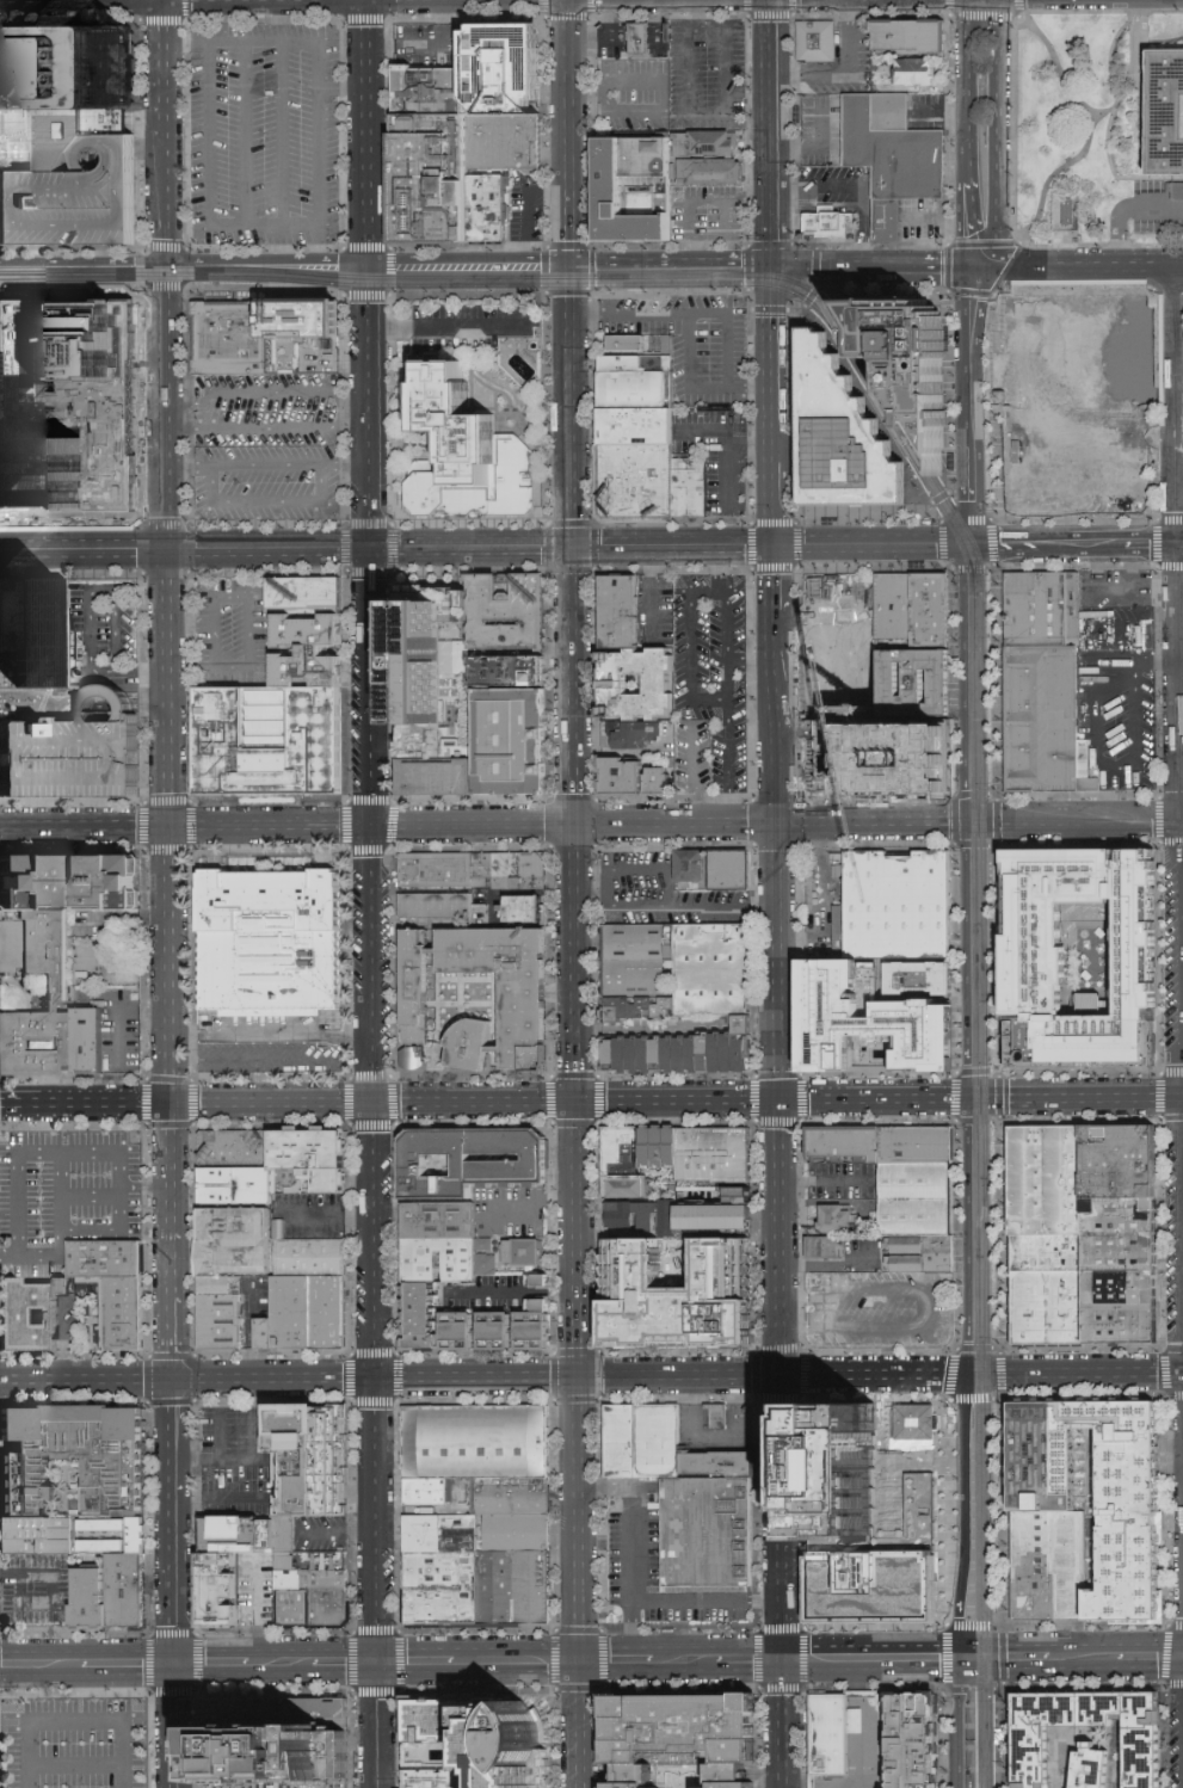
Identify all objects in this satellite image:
road: (949, 6)
road: (967, 6)
road: (998, 7)
road: (686, 12)
road: (991, 13)
building: (908, 38)
road: (185, 41)
road: (1139, 41)
building: (643, 42)
building: (820, 43)
road: (998, 43)
road: (204, 48)
road: (793, 49)
building: (67, 69)
road: (845, 72)
building: (914, 73)
building: (507, 74)
parking lot: (709, 75)
parking lot: (637, 82)
road: (340, 90)
road: (966, 97)
road: (1115, 100)
road: (1096, 110)
road: (722, 112)
building: (1165, 112)
parking lot: (637, 117)
park: (1074, 123)
building: (876, 125)
road: (1015, 125)
road: (1091, 127)
road: (951, 128)
road: (166, 131)
road: (365, 131)
road: (772, 131)
road: (242, 132)
road: (571, 132)
parking lot: (265, 134)
road: (279, 134)
building: (509, 150)
building: (436, 160)
building: (913, 168)
road: (999, 173)
road: (854, 190)
building: (73, 199)
parking lot: (73, 199)
road: (707, 201)
road: (1123, 209)
building: (827, 223)
building: (892, 223)
road: (969, 226)
road: (747, 245)
road: (871, 247)
road: (1018, 253)
road: (817, 261)
traffic signals: (774, 263)
road: (84, 264)
traffic signals: (167, 264)
road: (266, 264)
road: (672, 264)
traffic signals: (365, 265)
road: (468, 265)
traffic signals: (571, 265)
road: (875, 266)
road: (951, 266)
road: (1182, 267)
traffic signals: (979, 269)
road: (1080, 269)
railway: (369, 276)
railway: (165, 277)
railway: (477, 280)
road: (818, 280)
railway: (535, 283)
road: (885, 285)
road: (183, 291)
road: (812, 295)
road: (974, 304)
road: (774, 306)
road: (769, 307)
road: (796, 308)
road: (685, 315)
building: (302, 320)
road: (446, 323)
building: (229, 338)
building: (631, 341)
parking lot: (691, 344)
road: (322, 356)
building: (910, 358)
building: (635, 364)
road: (694, 389)
road: (951, 389)
building: (635, 391)
road: (261, 393)
railway: (891, 396)
railway: (889, 400)
road: (366, 407)
road: (572, 407)
road: (1182, 407)
building: (73, 408)
road: (167, 408)
railway: (879, 411)
railway: (887, 418)
building: (636, 427)
road: (266, 428)
road: (972, 431)
road: (725, 432)
building: (842, 437)
parking lot: (266, 448)
road: (775, 448)
building: (466, 455)
road: (189, 466)
road: (344, 466)
road: (797, 474)
building: (634, 480)
building: (689, 491)
road: (729, 491)
road: (935, 500)
road: (321, 504)
road: (934, 517)
road: (988, 518)
road: (968, 534)
road: (943, 540)
road: (1074, 545)
traffic signals: (966, 547)
road: (838, 548)
road: (935, 548)
road: (645, 549)
road: (723, 549)
road: (752, 549)
traffic signals: (775, 549)
road: (469, 550)
traffic signals: (573, 550)
road: (266, 551)
traffic signals: (368, 551)
road: (82, 553)
traffic signals: (166, 553)
road: (943, 562)
road: (875, 566)
road: (969, 566)
road: (775, 569)
road: (716, 573)
road: (100, 587)
building: (306, 597)
road: (776, 599)
building: (894, 605)
building: (938, 605)
building: (1041, 608)
building: (626, 609)
building: (8, 616)
building: (513, 621)
road: (207, 622)
road: (249, 623)
parking lot: (100, 631)
building: (42, 634)
parking lot: (229, 634)
road: (689, 651)
building: (425, 653)
road: (750, 661)
road: (127, 671)
building: (922, 677)
road: (1157, 678)
road: (996, 679)
parking lot: (714, 682)
road: (963, 683)
building: (639, 685)
road: (574, 686)
road: (37, 702)
building: (857, 704)
road: (725, 707)
road: (776, 716)
building: (1042, 717)
road: (1134, 719)
building: (439, 741)
road: (1097, 746)
building: (272, 747)
building: (75, 752)
parking lot: (75, 752)
road: (694, 775)
building: (639, 777)
road: (997, 818)
road: (954, 819)
road: (1095, 820)
road: (870, 821)
traffic signals: (965, 821)
road: (986, 821)
road: (676, 822)
traffic signals: (777, 822)
traffic signals: (577, 824)
road: (288, 825)
traffic signals: (370, 825)
traffic signals: (167, 826)
road: (167, 830)
railway: (982, 843)
road: (640, 869)
building: (719, 869)
building: (515, 873)
building: (442, 874)
building: (74, 884)
building: (440, 906)
building: (531, 906)
building: (901, 906)
road: (677, 907)
building: (446, 926)
building: (277, 942)
building: (1040, 952)
road: (998, 955)
road: (1162, 955)
road: (965, 958)
building: (641, 962)
railway: (979, 963)
building: (719, 969)
building: (512, 985)
building: (60, 988)
building: (421, 989)
building: (887, 1010)
road: (270, 1034)
building: (475, 1046)
building: (413, 1055)
road: (271, 1056)
road: (999, 1095)
road: (956, 1096)
traffic signals: (966, 1097)
road: (1074, 1097)
traffic signals: (781, 1098)
road: (567, 1102)
traffic signals: (577, 1102)
road: (85, 1104)
traffic signals: (372, 1105)
traffic signals: (170, 1106)
road: (372, 1108)
building: (235, 1149)
building: (920, 1149)
road: (80, 1151)
building: (850, 1152)
building: (717, 1155)
building: (639, 1159)
building: (472, 1160)
building: (316, 1161)
building: (1115, 1161)
road: (825, 1179)
building: (1043, 1182)
road: (144, 1188)
building: (236, 1188)
road: (88, 1195)
parking lot: (64, 1197)
building: (919, 1200)
railway: (975, 1200)
road: (781, 1210)
building: (725, 1213)
road: (329, 1214)
building: (648, 1215)
building: (839, 1216)
railway: (979, 1217)
building: (443, 1219)
road: (57, 1229)
road: (999, 1233)
road: (1160, 1233)
road: (577, 1235)
road: (967, 1235)
building: (1116, 1235)
road: (170, 1243)
building: (236, 1243)
building: (828, 1244)
building: (524, 1251)
building: (924, 1253)
building: (487, 1256)
building: (1046, 1256)
building: (310, 1258)
building: (443, 1258)
building: (109, 1260)
building: (543, 1278)
road: (512, 1291)
building: (682, 1296)
road: (925, 1307)
building: (1117, 1308)
parking lot: (879, 1309)
building: (1046, 1309)
building: (223, 1312)
building: (30, 1313)
building: (309, 1313)
building: (425, 1313)
building: (127, 1315)
building: (543, 1322)
building: (504, 1327)
building: (466, 1328)
road: (248, 1334)
road: (60, 1342)
road: (999, 1371)
road: (1074, 1373)
traffic signals: (966, 1374)
traffic signals: (782, 1375)
road: (953, 1376)
traffic signals: (577, 1379)
traffic signals: (171, 1380)
road: (482, 1380)
traffic signals: (374, 1381)
building: (719, 1417)
road: (249, 1420)
road: (215, 1438)
railway: (986, 1442)
building: (647, 1443)
road: (147, 1448)
building: (475, 1453)
building: (72, 1460)
road: (217, 1461)
parking lot: (232, 1463)
building: (313, 1463)
building: (721, 1466)
building: (1098, 1496)
road: (215, 1497)
building: (517, 1502)
road: (1002, 1510)
road: (1166, 1510)
road: (963, 1515)
building: (882, 1517)
road: (173, 1522)
road: (335, 1533)
building: (714, 1534)
building: (239, 1535)
building: (448, 1536)
building: (517, 1536)
building: (39, 1539)
building: (110, 1539)
road: (628, 1552)
parking lot: (654, 1565)
building: (1048, 1567)
road: (7, 1574)
building: (534, 1589)
building: (223, 1590)
building: (448, 1590)
building: (500, 1590)
building: (123, 1591)
parking lot: (33, 1592)
building: (331, 1599)
building: (86, 1601)
road: (704, 1601)
building: (295, 1602)
road: (49, 1604)
road: (780, 1629)
road: (70, 1635)
road: (947, 1644)
road: (1002, 1653)
road: (1150, 1653)
road: (581, 1654)
road: (1003, 1654)
road: (1083, 1654)
road: (908, 1656)
traffic signals: (959, 1656)
road: (819, 1658)
road: (682, 1660)
road: (748, 1660)
traffic signals: (780, 1660)
road: (639, 1661)
road: (517, 1663)
traffic signals: (581, 1663)
road: (605, 1663)
road: (344, 1664)
traffic signals: (376, 1664)
road: (414, 1664)
road: (36, 1665)
road: (124, 1665)
traffic signals: (178, 1665)
road: (211, 1665)
road: (278, 1665)
road: (780, 1665)
road: (987, 1688)
building: (1107, 1709)
building: (1148, 1710)
building: (273, 1719)
road: (73, 1721)
road: (867, 1721)
road: (957, 1721)
road: (581, 1725)
road: (178, 1726)
road: (376, 1726)
building: (682, 1726)
road: (780, 1730)
building: (1045, 1732)
building: (485, 1734)
building: (836, 1734)
road: (1003, 1734)
road: (973, 1738)
railway: (976, 1739)
railway: (992, 1740)
building: (919, 1741)
parking lot: (78, 1744)
building: (1148, 1758)
building: (275, 1763)
road: (73, 1765)
building: (1096, 1768)
building: (732, 1778)
building: (445, 1783)

